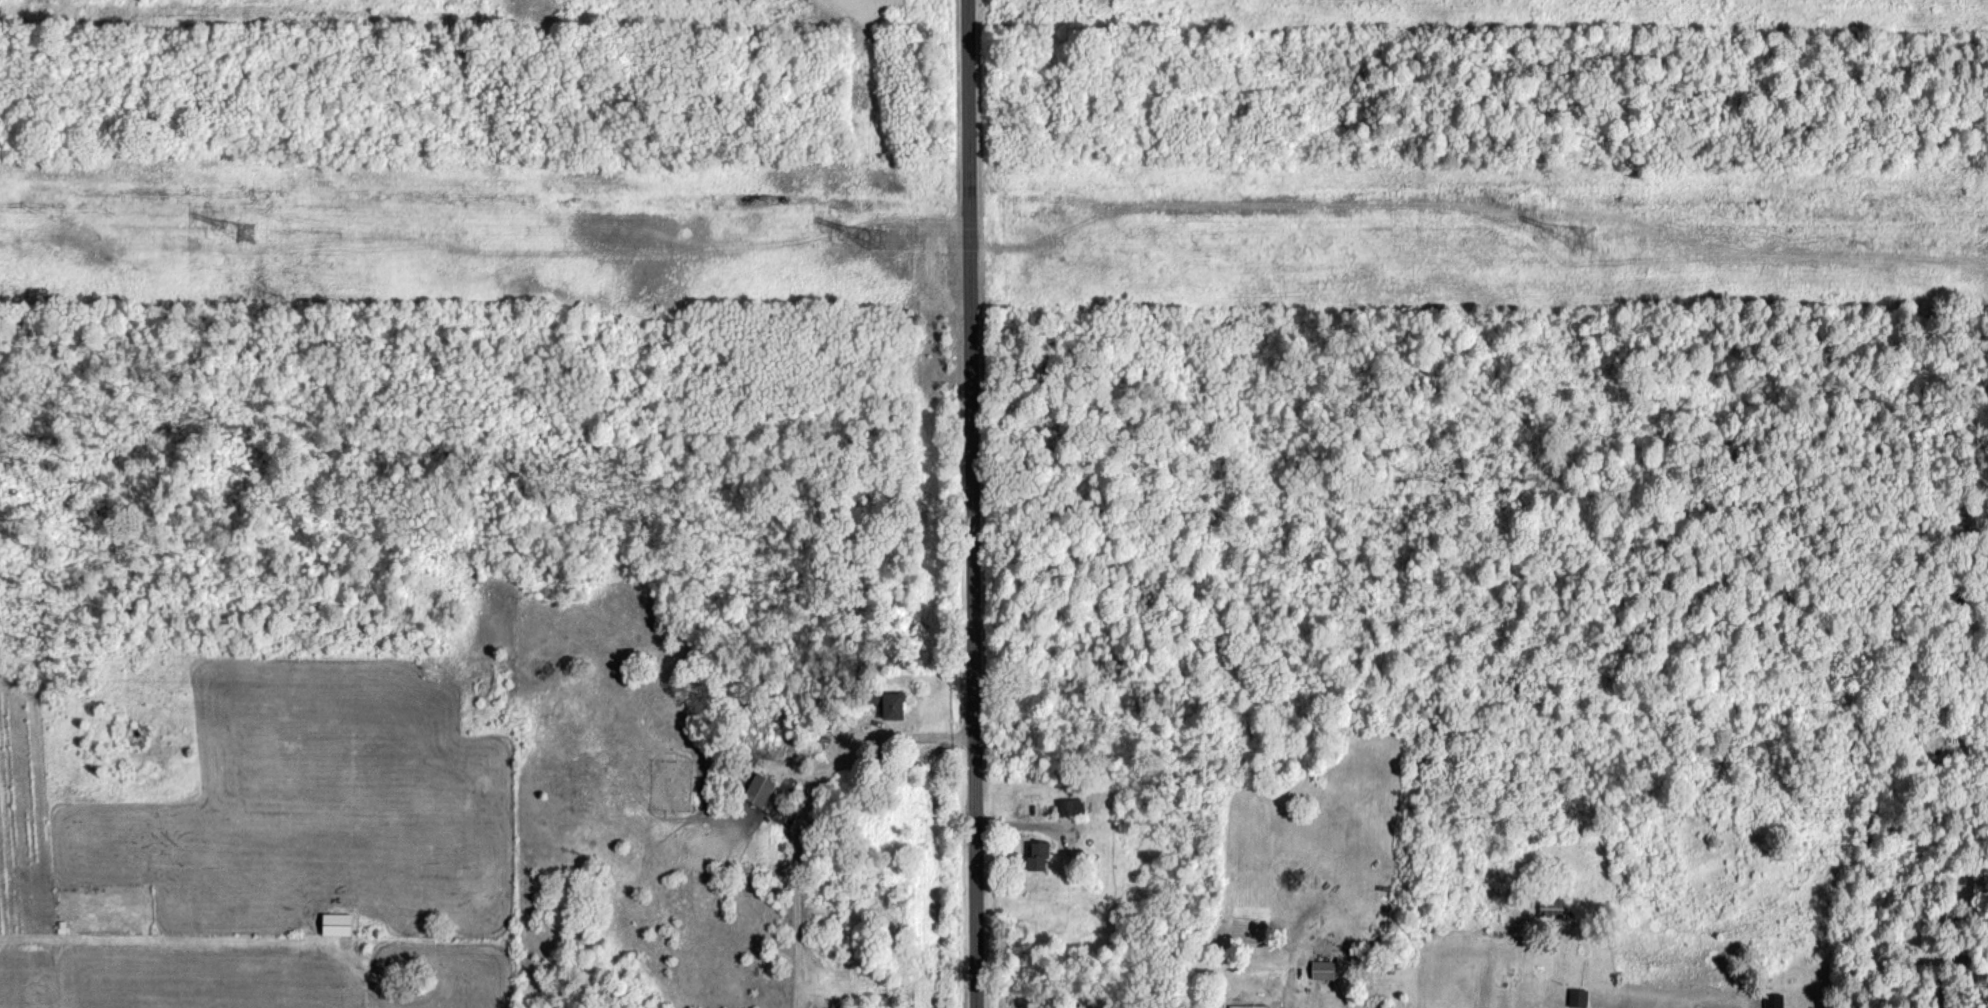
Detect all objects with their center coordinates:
power tower: (249, 231)
power tower: (882, 236)
power tower: (1585, 238)
road: (970, 504)
building: (889, 705)
building: (758, 789)
building: (1070, 806)
building: (1035, 856)
building: (1552, 908)
building: (335, 923)
building: (1577, 997)
building: (1773, 1000)
building: (1246, 1006)
building: (1382, 1007)

